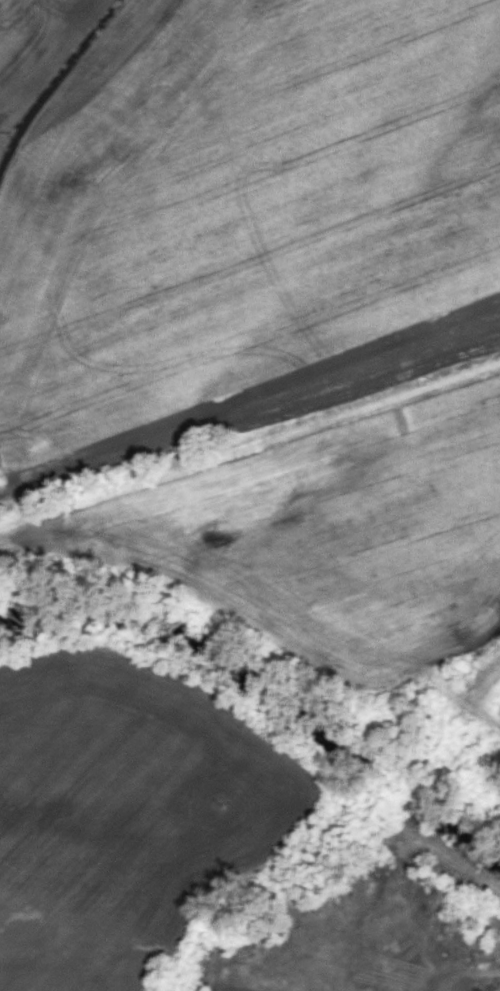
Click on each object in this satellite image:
crop: (236, 209)
crop: (363, 551)
crop: (125, 816)
road: (482, 970)
crop: (245, 988)

